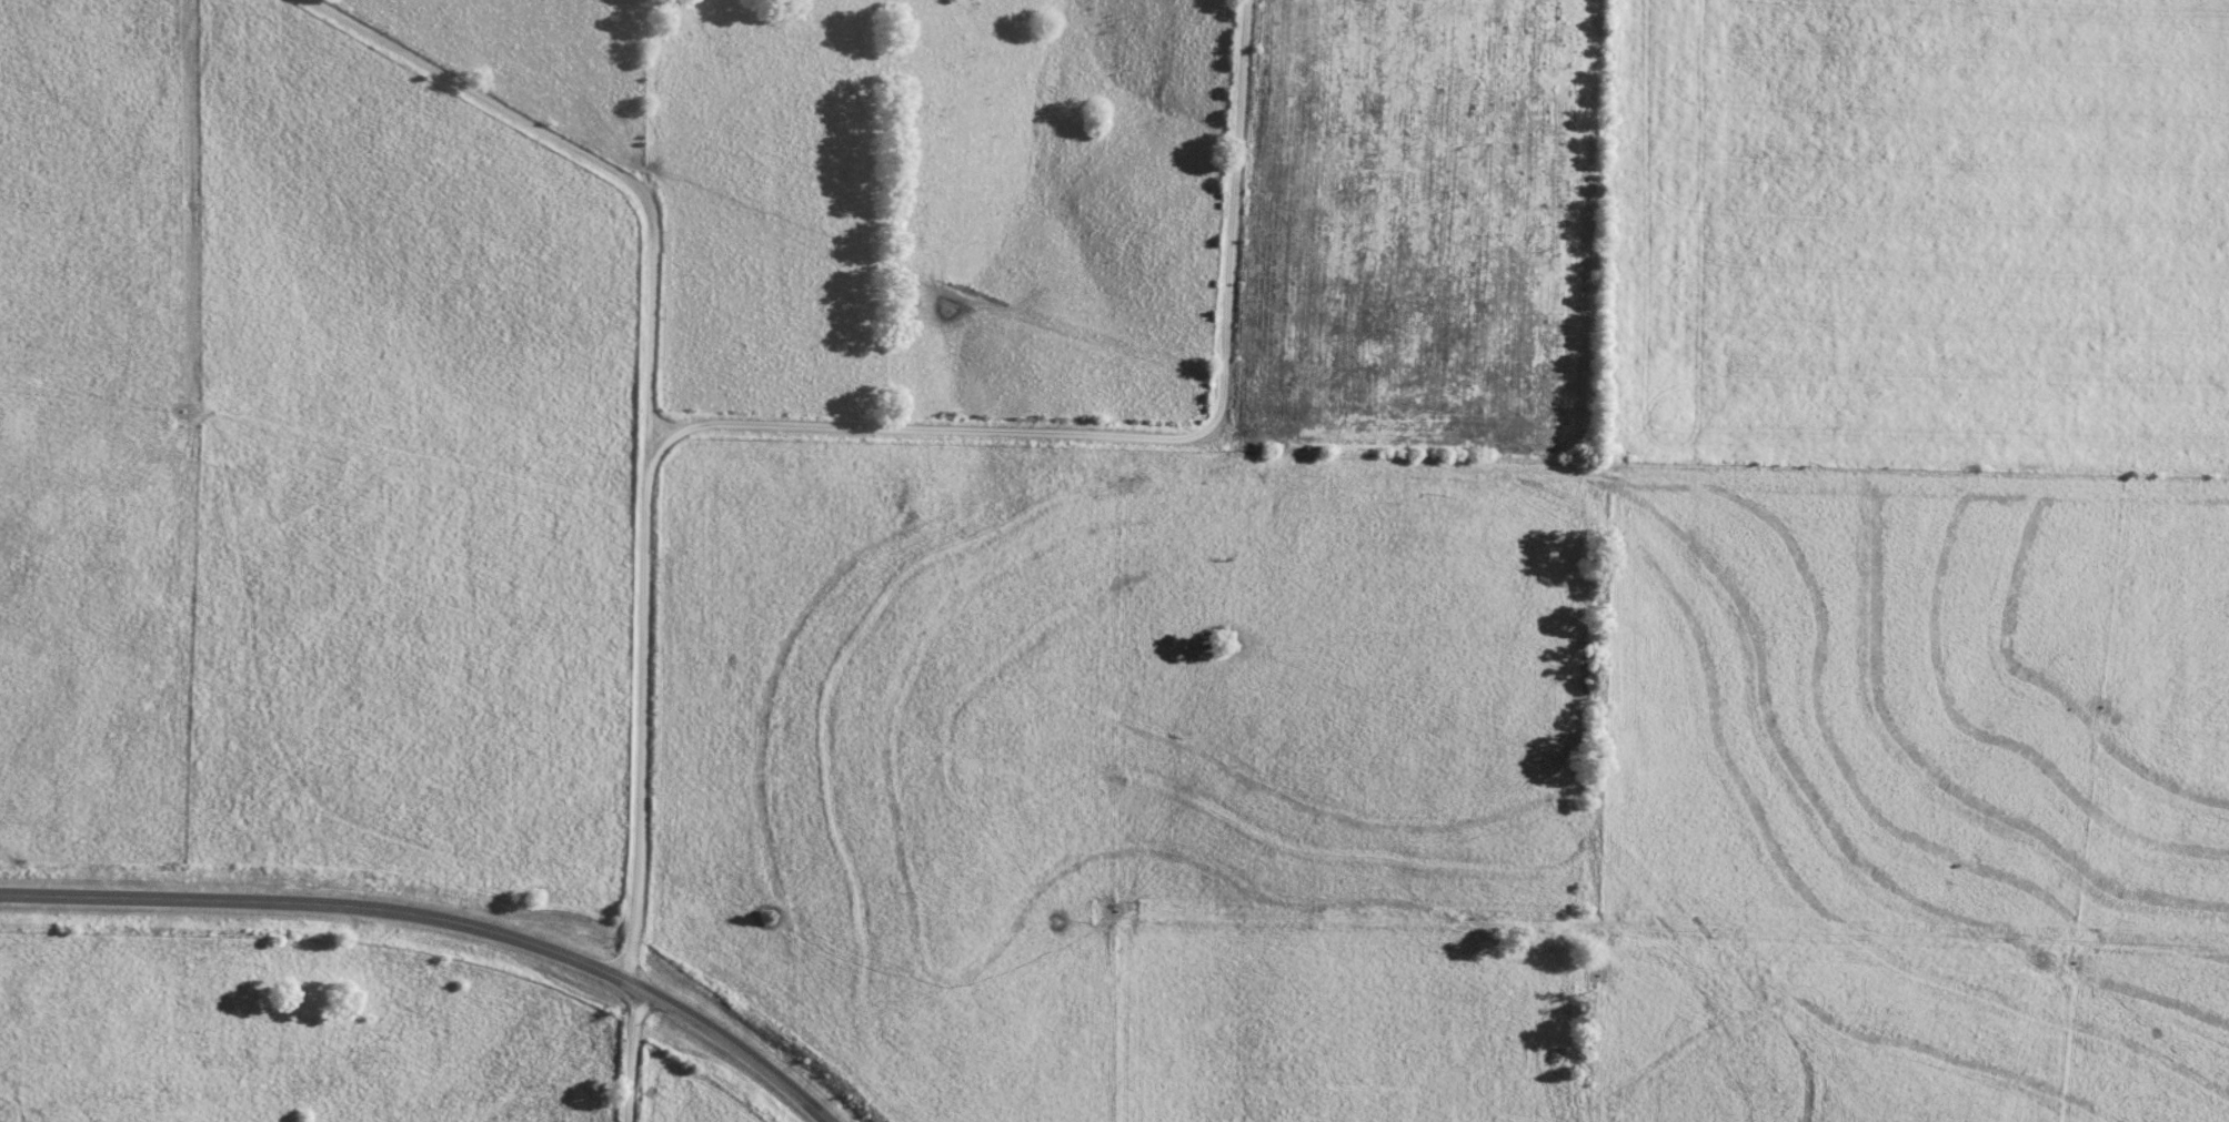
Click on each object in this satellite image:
road: (593, 161)
road: (884, 431)
road: (441, 919)
road: (633, 1057)

